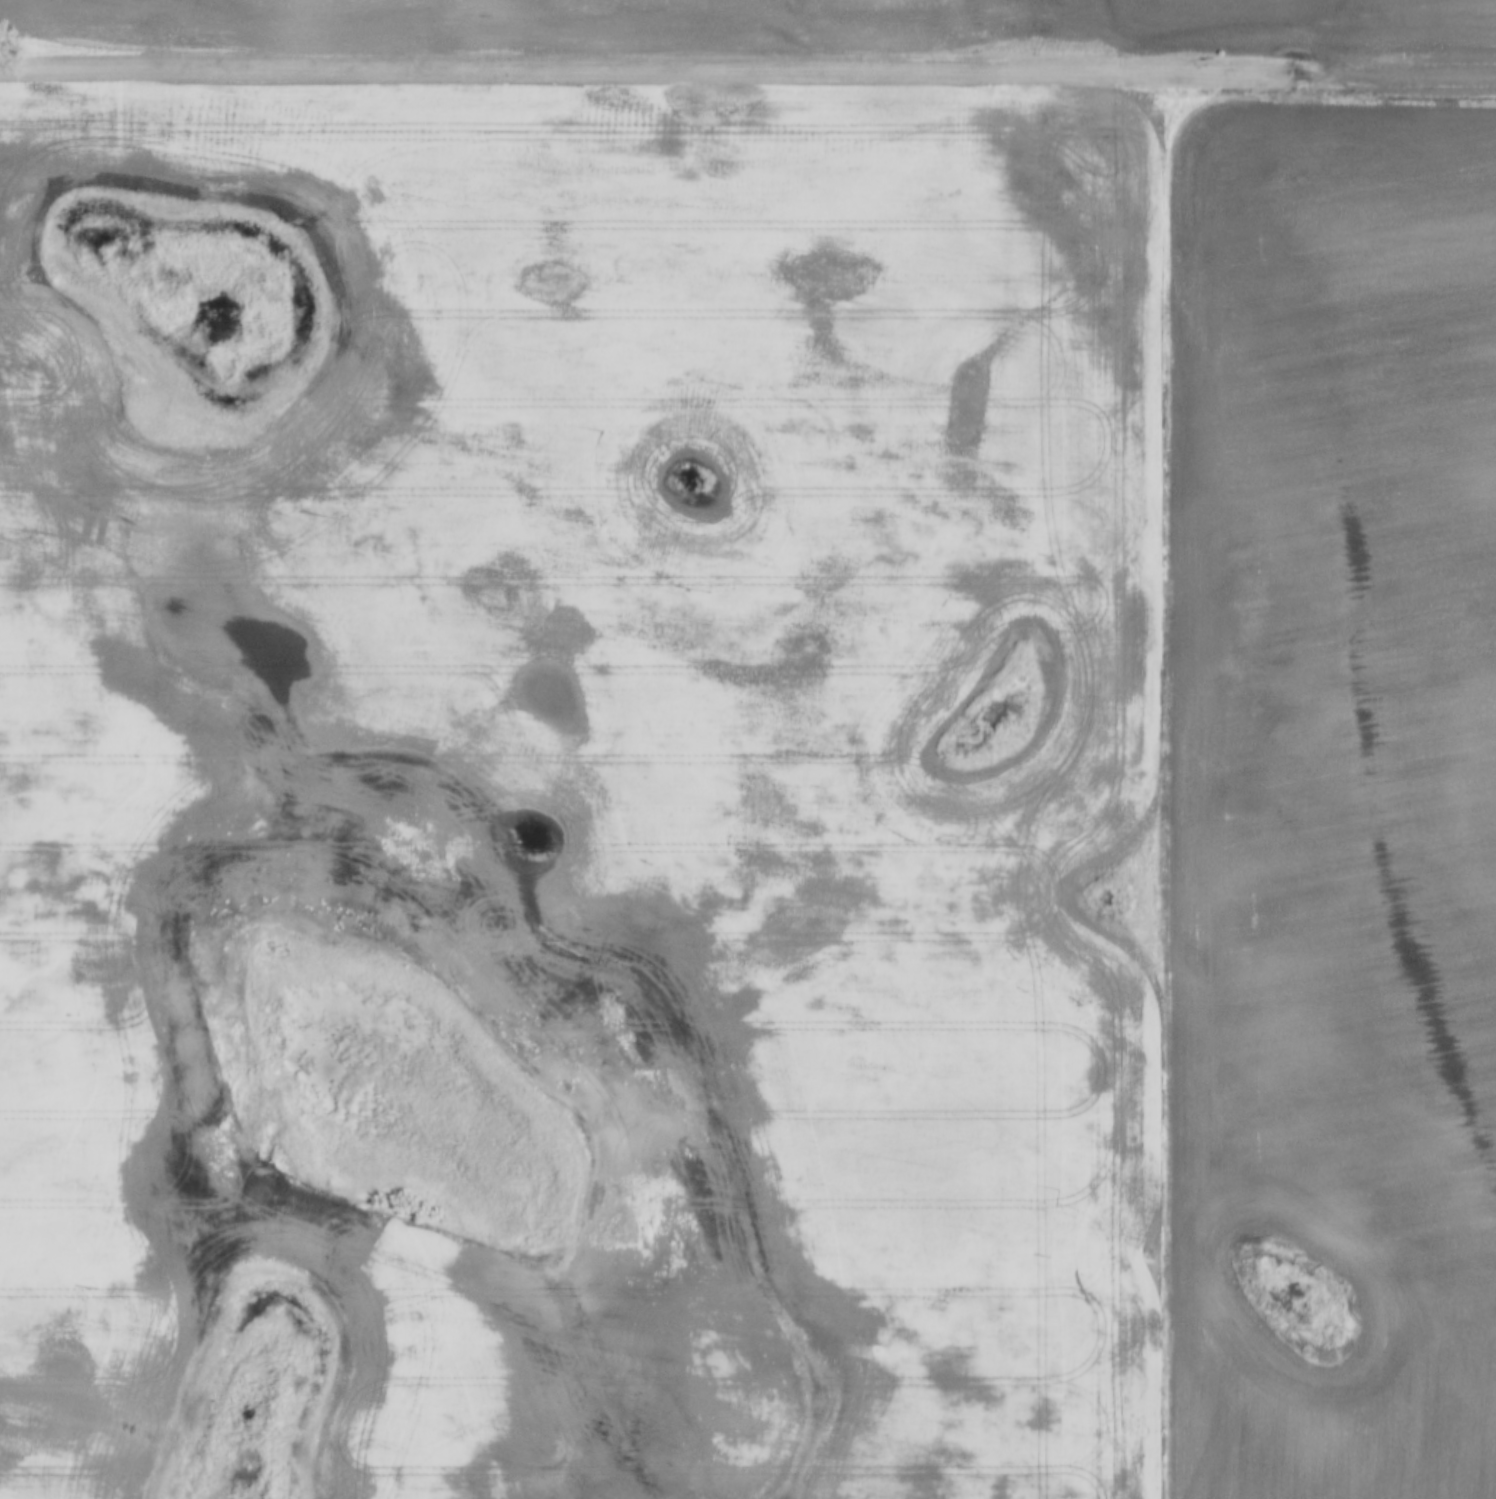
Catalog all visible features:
road: (747, 76)

